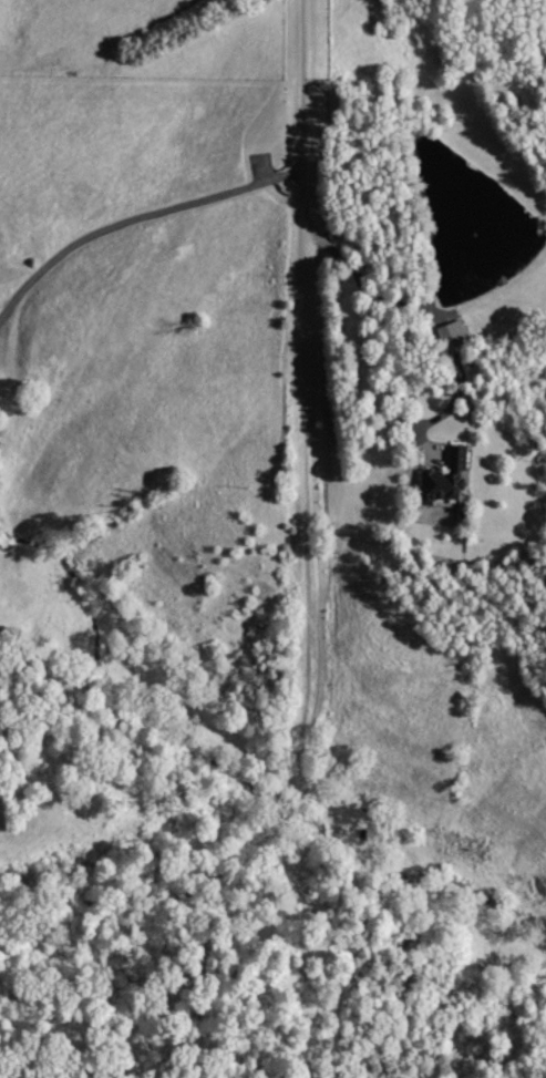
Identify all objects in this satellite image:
road: (137, 211)
road: (322, 240)
building: (452, 476)

